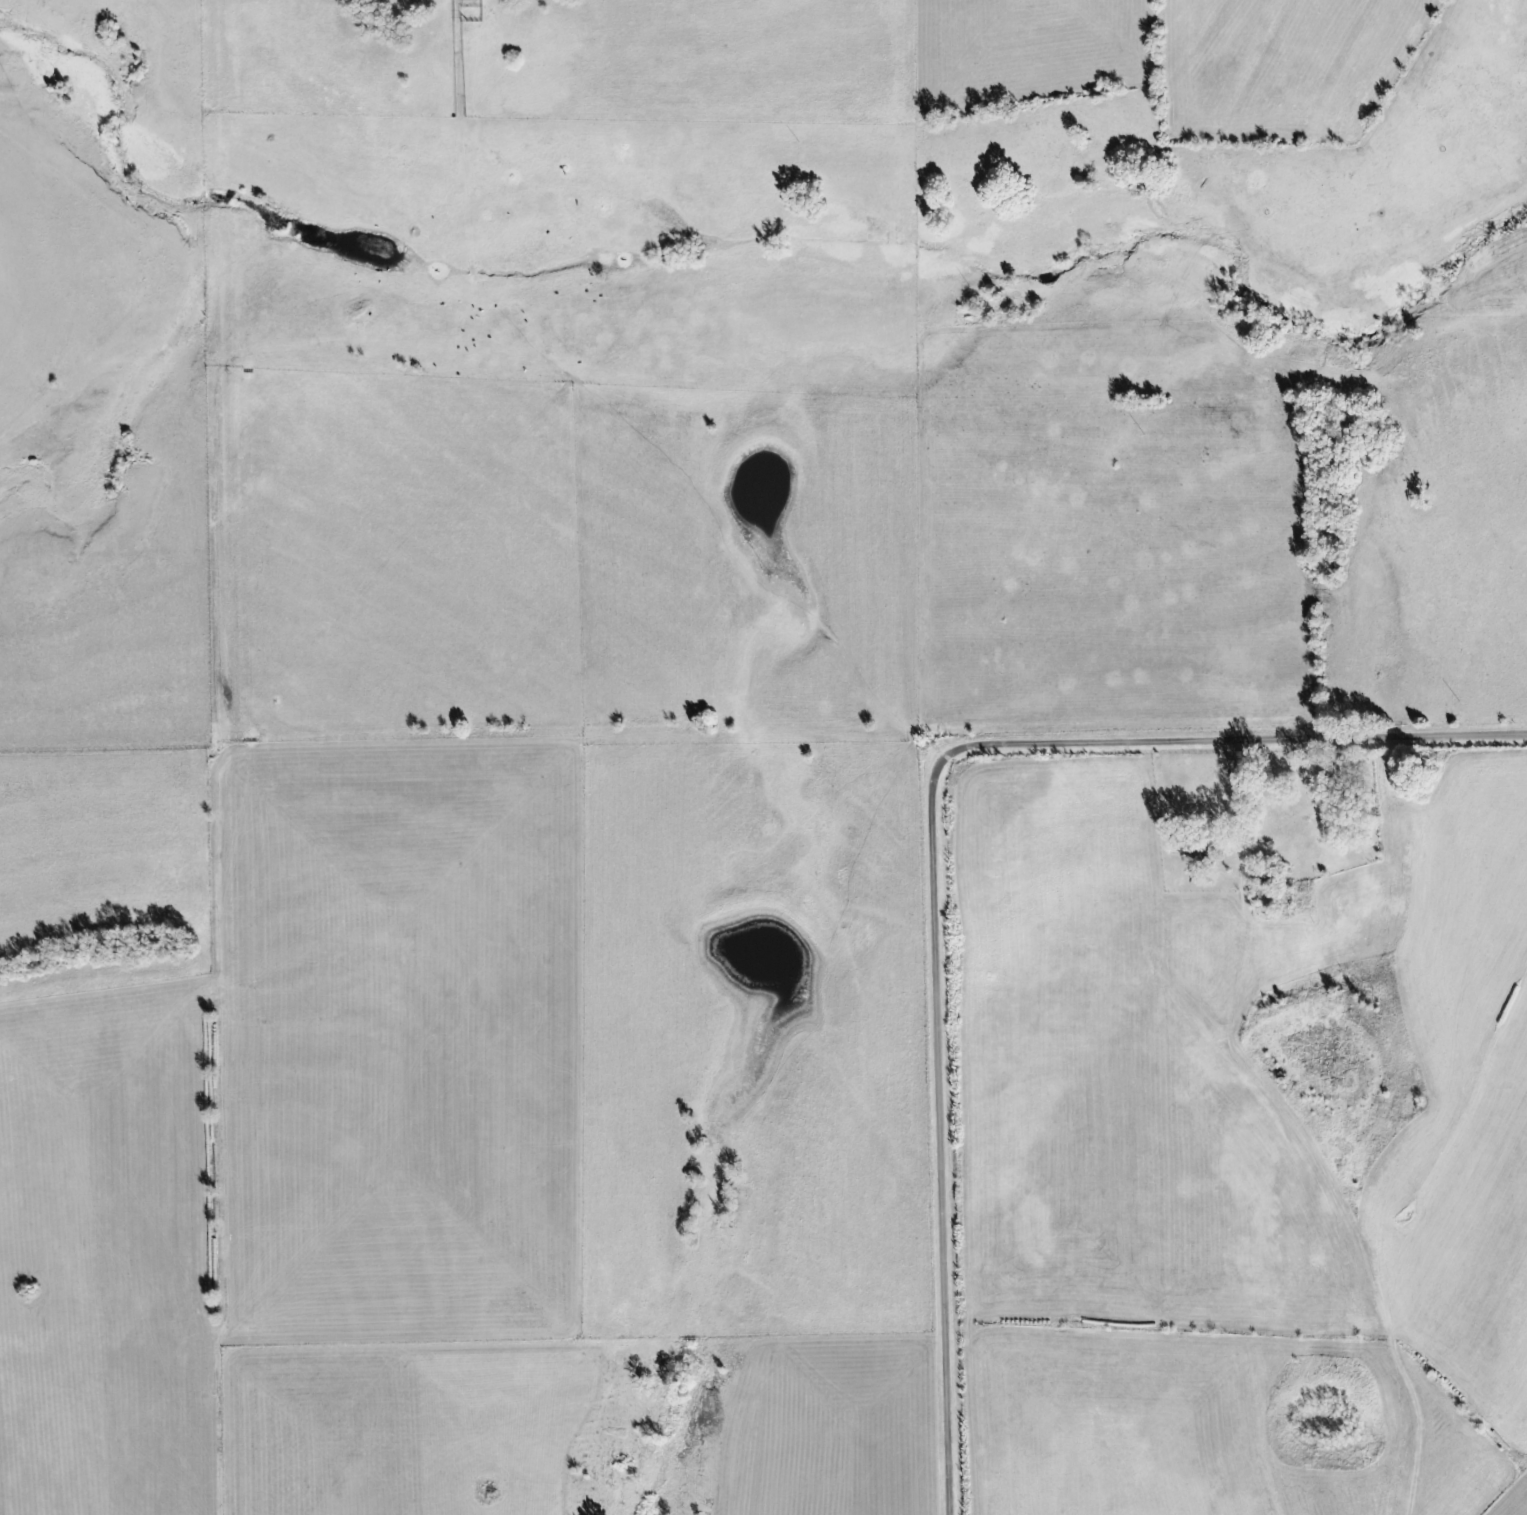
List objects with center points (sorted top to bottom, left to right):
building: (468, 4)
building: (1348, 426)
road: (931, 840)
building: (1260, 875)

